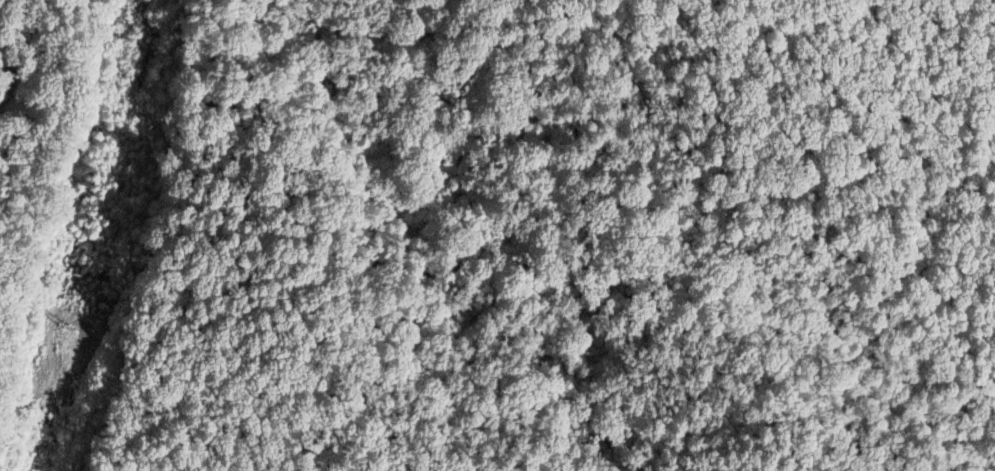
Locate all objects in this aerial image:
power tower: (62, 323)

